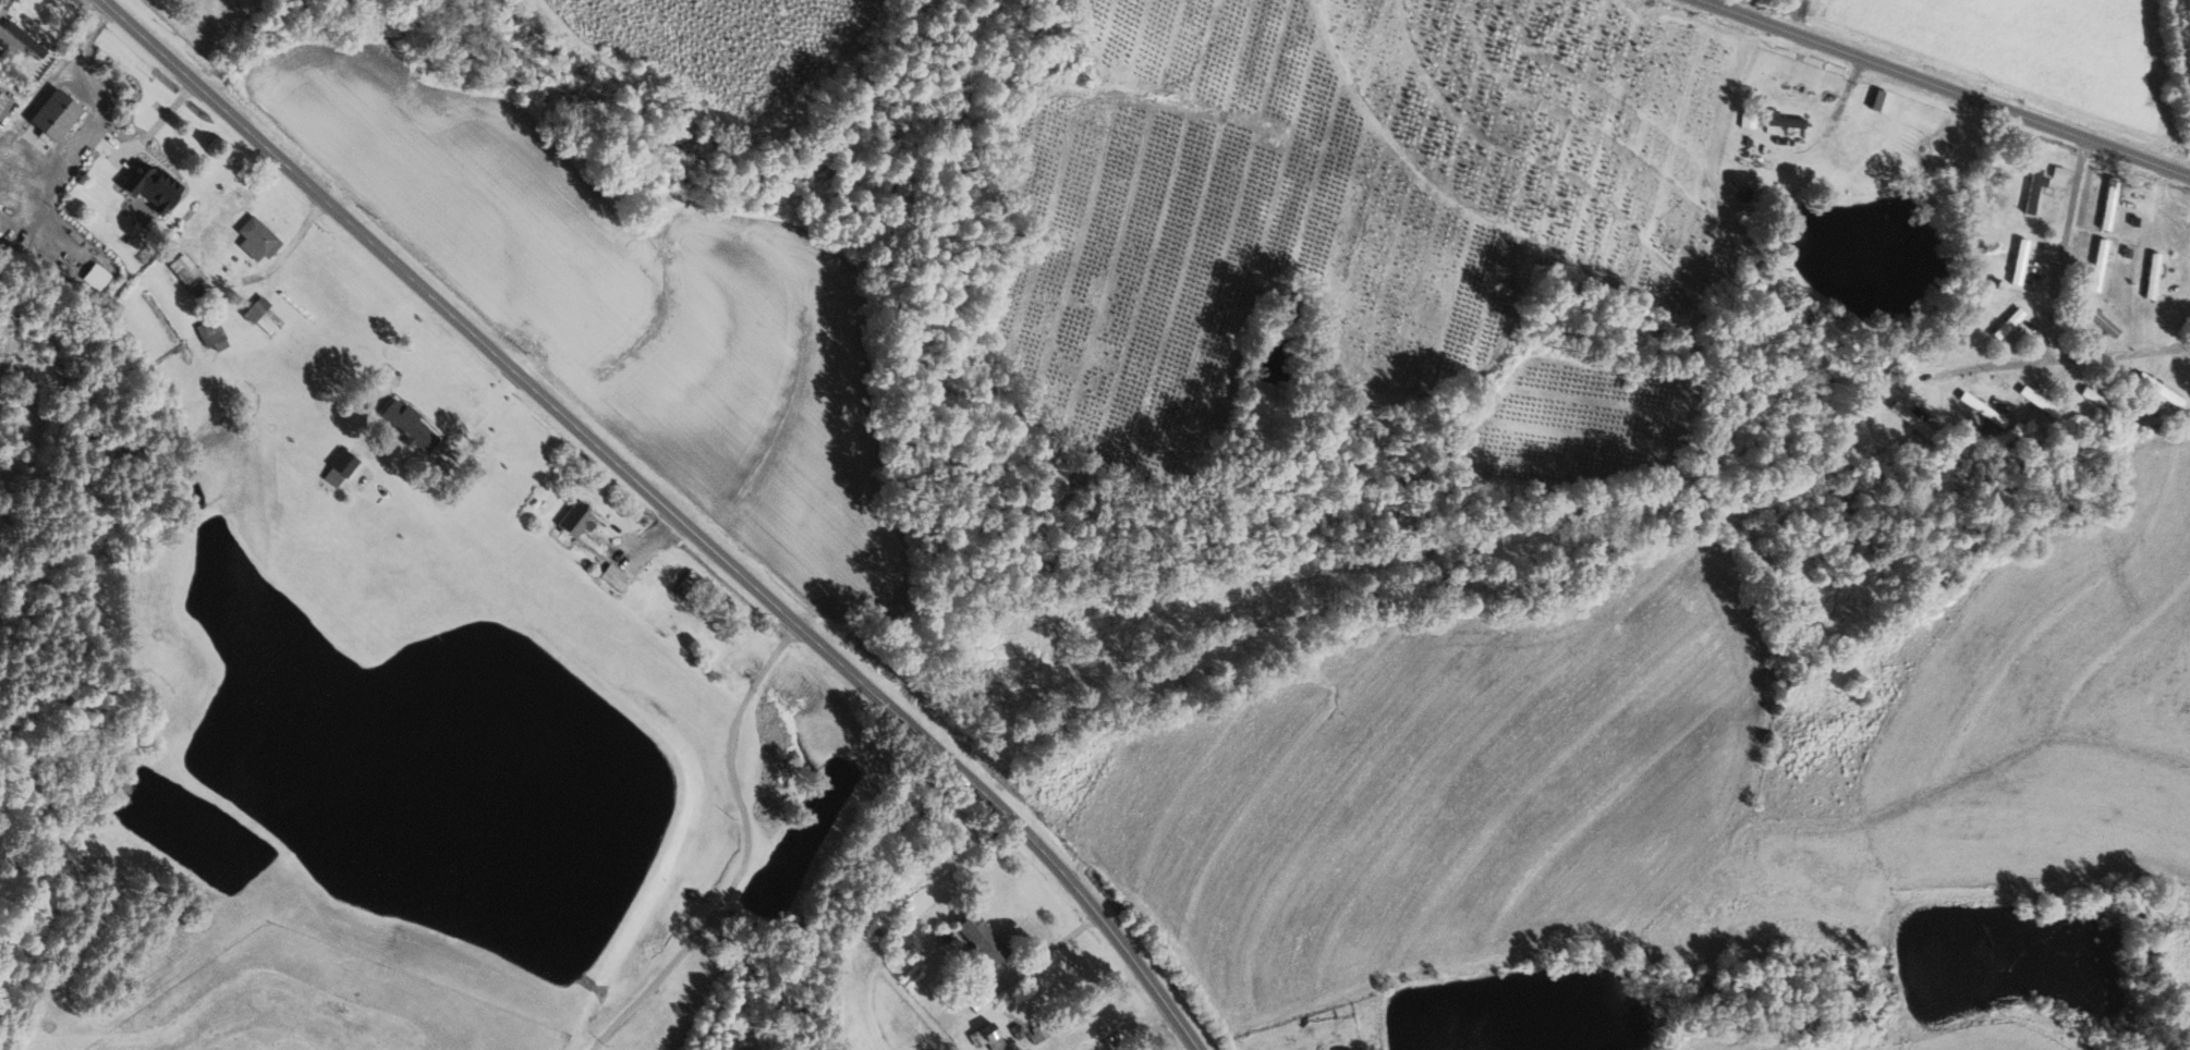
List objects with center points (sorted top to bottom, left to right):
building: (24, 38)
road: (56, 75)
road: (1936, 90)
building: (1881, 99)
building: (3, 103)
building: (54, 113)
building: (1781, 120)
road: (104, 133)
building: (149, 185)
building: (2034, 190)
road: (2164, 199)
building: (2108, 204)
building: (256, 239)
road: (290, 247)
road: (2059, 254)
building: (2019, 261)
building: (186, 273)
building: (96, 276)
building: (255, 308)
road: (2180, 313)
building: (211, 333)
road: (2113, 358)
road: (1955, 378)
building: (2161, 389)
road: (485, 411)
building: (410, 425)
building: (339, 468)
road: (658, 509)
building: (575, 521)
building: (615, 576)
road: (747, 857)
building: (981, 940)
road: (1050, 952)
road: (1126, 1029)
building: (986, 1037)

